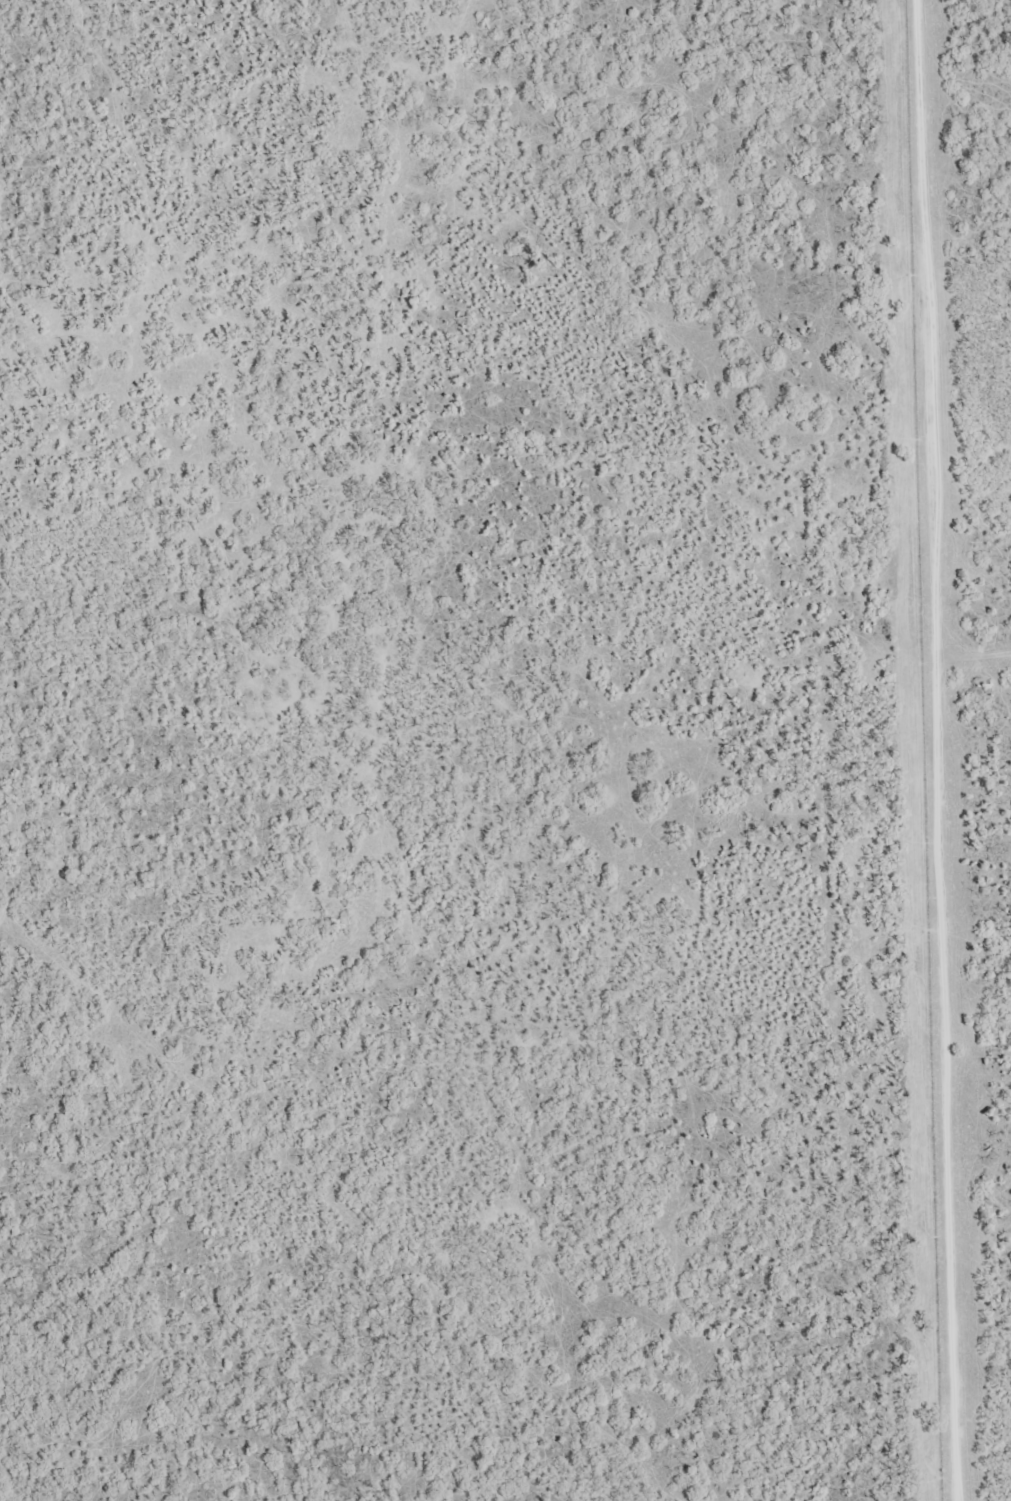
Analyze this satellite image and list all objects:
road: (970, 750)
road: (994, 1046)

